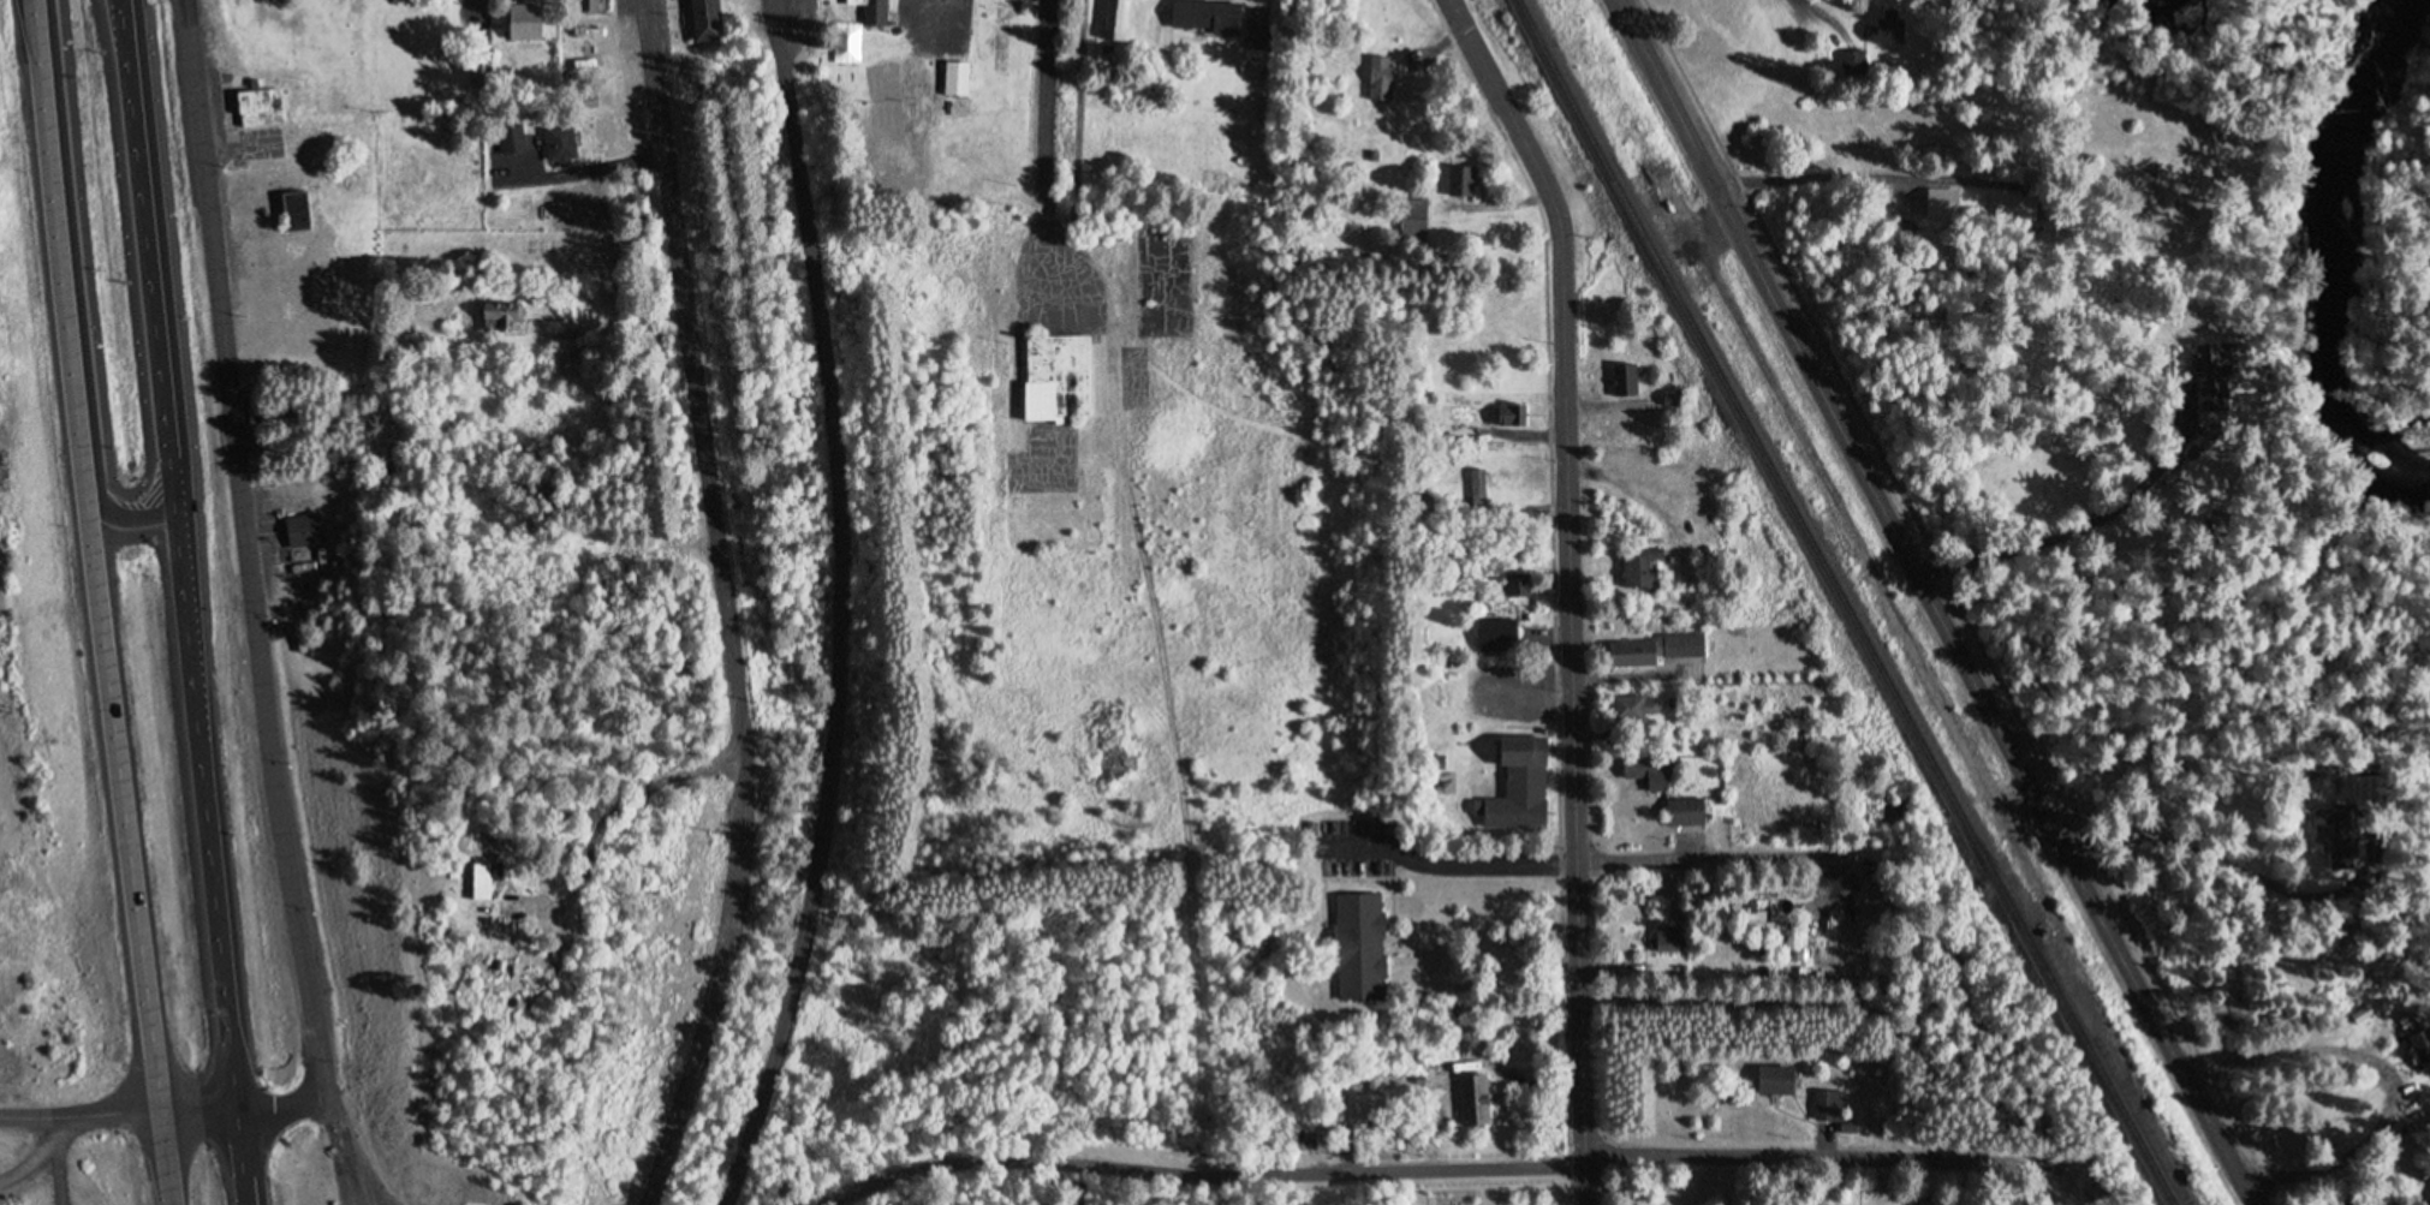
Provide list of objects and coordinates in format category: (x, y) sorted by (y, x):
building: (588, 1)
river: (2144, 5)
building: (872, 10)
building: (1209, 12)
road: (1819, 14)
building: (523, 16)
building: (705, 17)
building: (1113, 17)
building: (1883, 19)
building: (1000, 31)
building: (481, 70)
building: (953, 71)
building: (1378, 71)
building: (261, 106)
building: (440, 126)
building: (513, 139)
road: (1043, 141)
building: (564, 144)
building: (1459, 174)
road: (663, 180)
building: (1947, 202)
building: (298, 210)
building: (1410, 213)
river: (2315, 266)
building: (502, 317)
building: (1055, 368)
building: (2216, 376)
building: (1627, 380)
building: (1512, 416)
building: (1478, 488)
building: (305, 531)
building: (1640, 567)
road: (1566, 590)
road: (100, 602)
road: (181, 602)
railway: (1847, 603)
road: (1931, 603)
road: (250, 606)
road: (836, 607)
building: (1501, 636)
building: (1662, 648)
building: (1633, 706)
building: (1654, 771)
building: (1524, 785)
road: (740, 788)
building: (2368, 793)
building: (1686, 812)
building: (1888, 812)
building: (2335, 833)
road: (1713, 860)
building: (488, 876)
building: (1783, 931)
building: (1359, 939)
building: (1669, 941)
building: (2420, 1039)
road: (1199, 1046)
building: (1770, 1072)
railway: (2116, 1074)
building: (1780, 1081)
building: (1826, 1098)
building: (1476, 1100)
road: (161, 1106)
building: (1372, 1106)
building: (1322, 1139)
road: (31, 1145)
road: (1795, 1159)
road: (2333, 1177)
road: (1208, 1179)
building: (2091, 1192)

